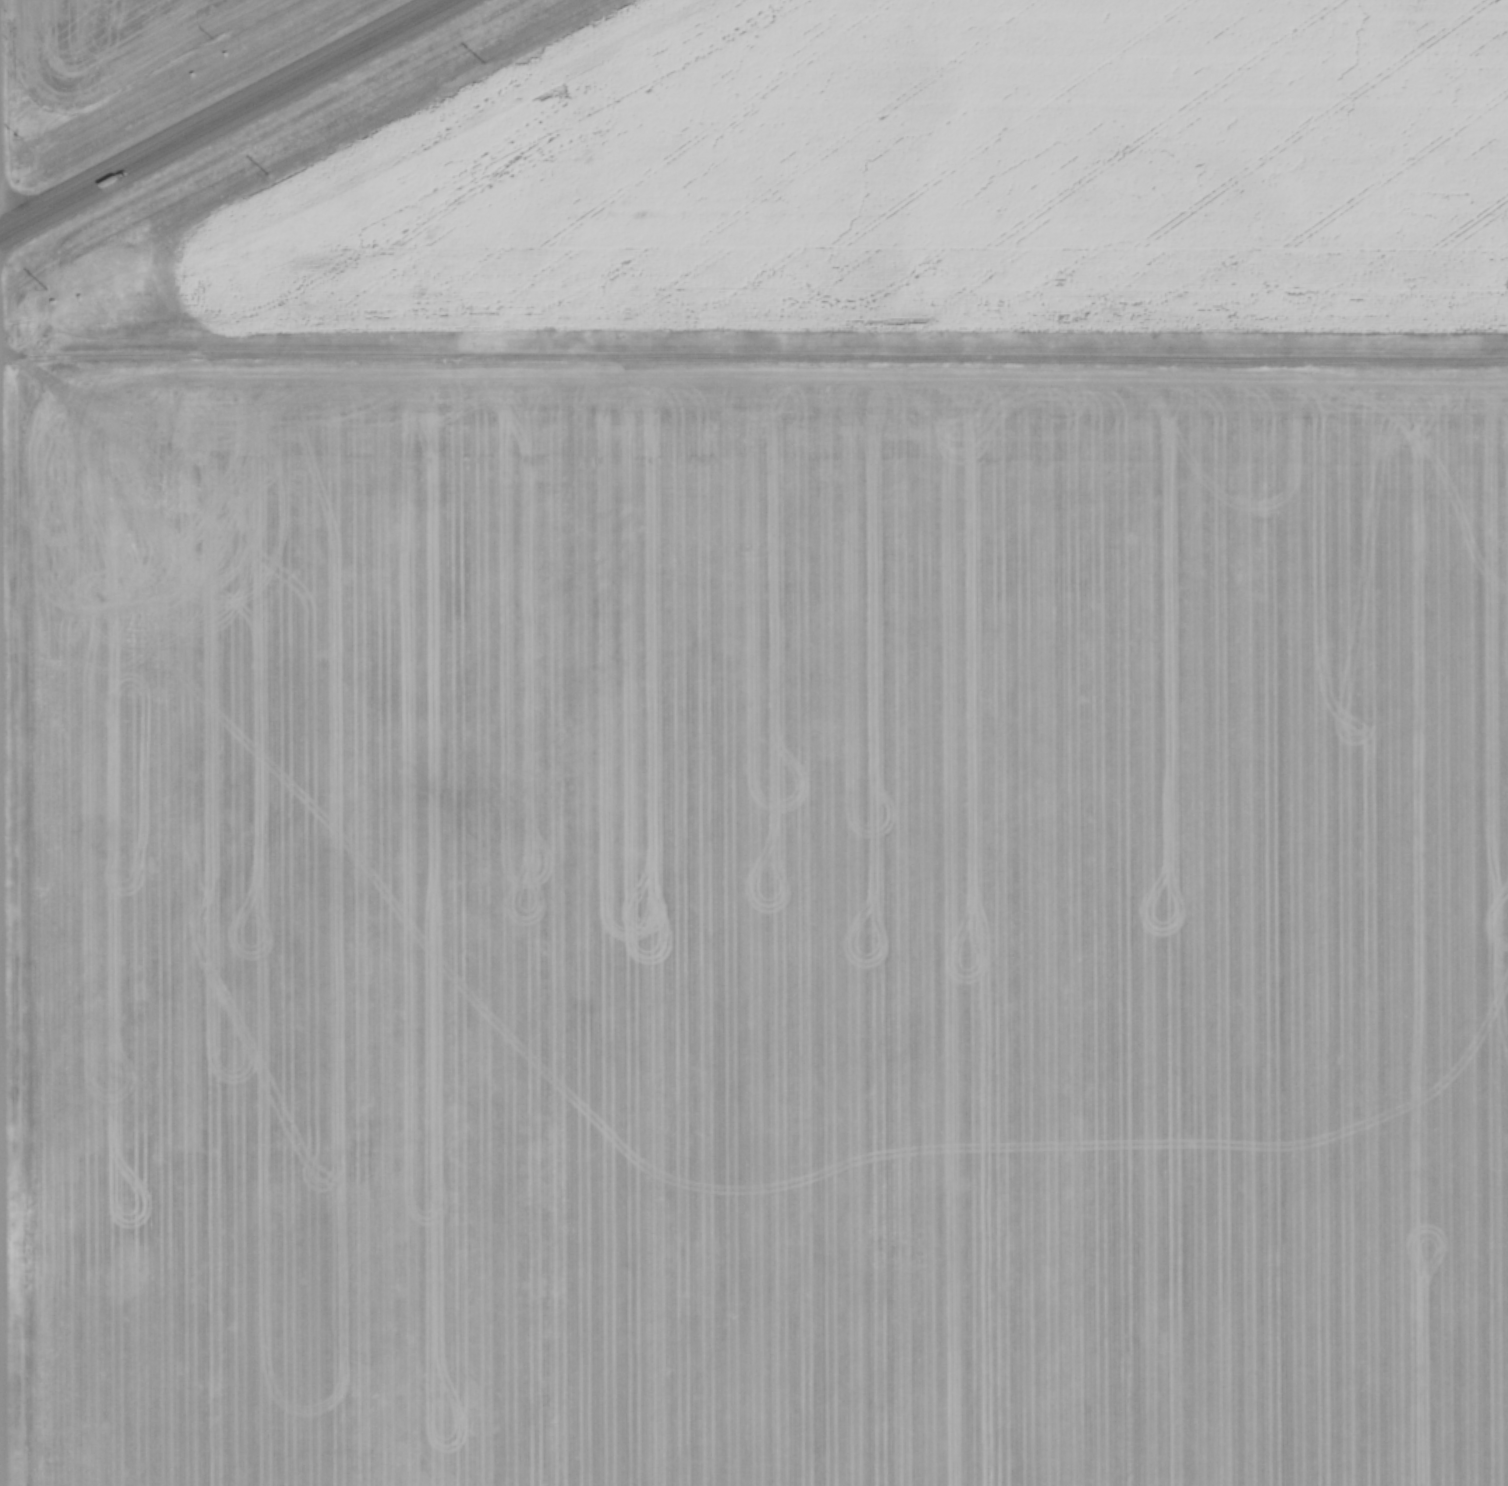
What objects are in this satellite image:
road: (226, 118)
road: (754, 357)

